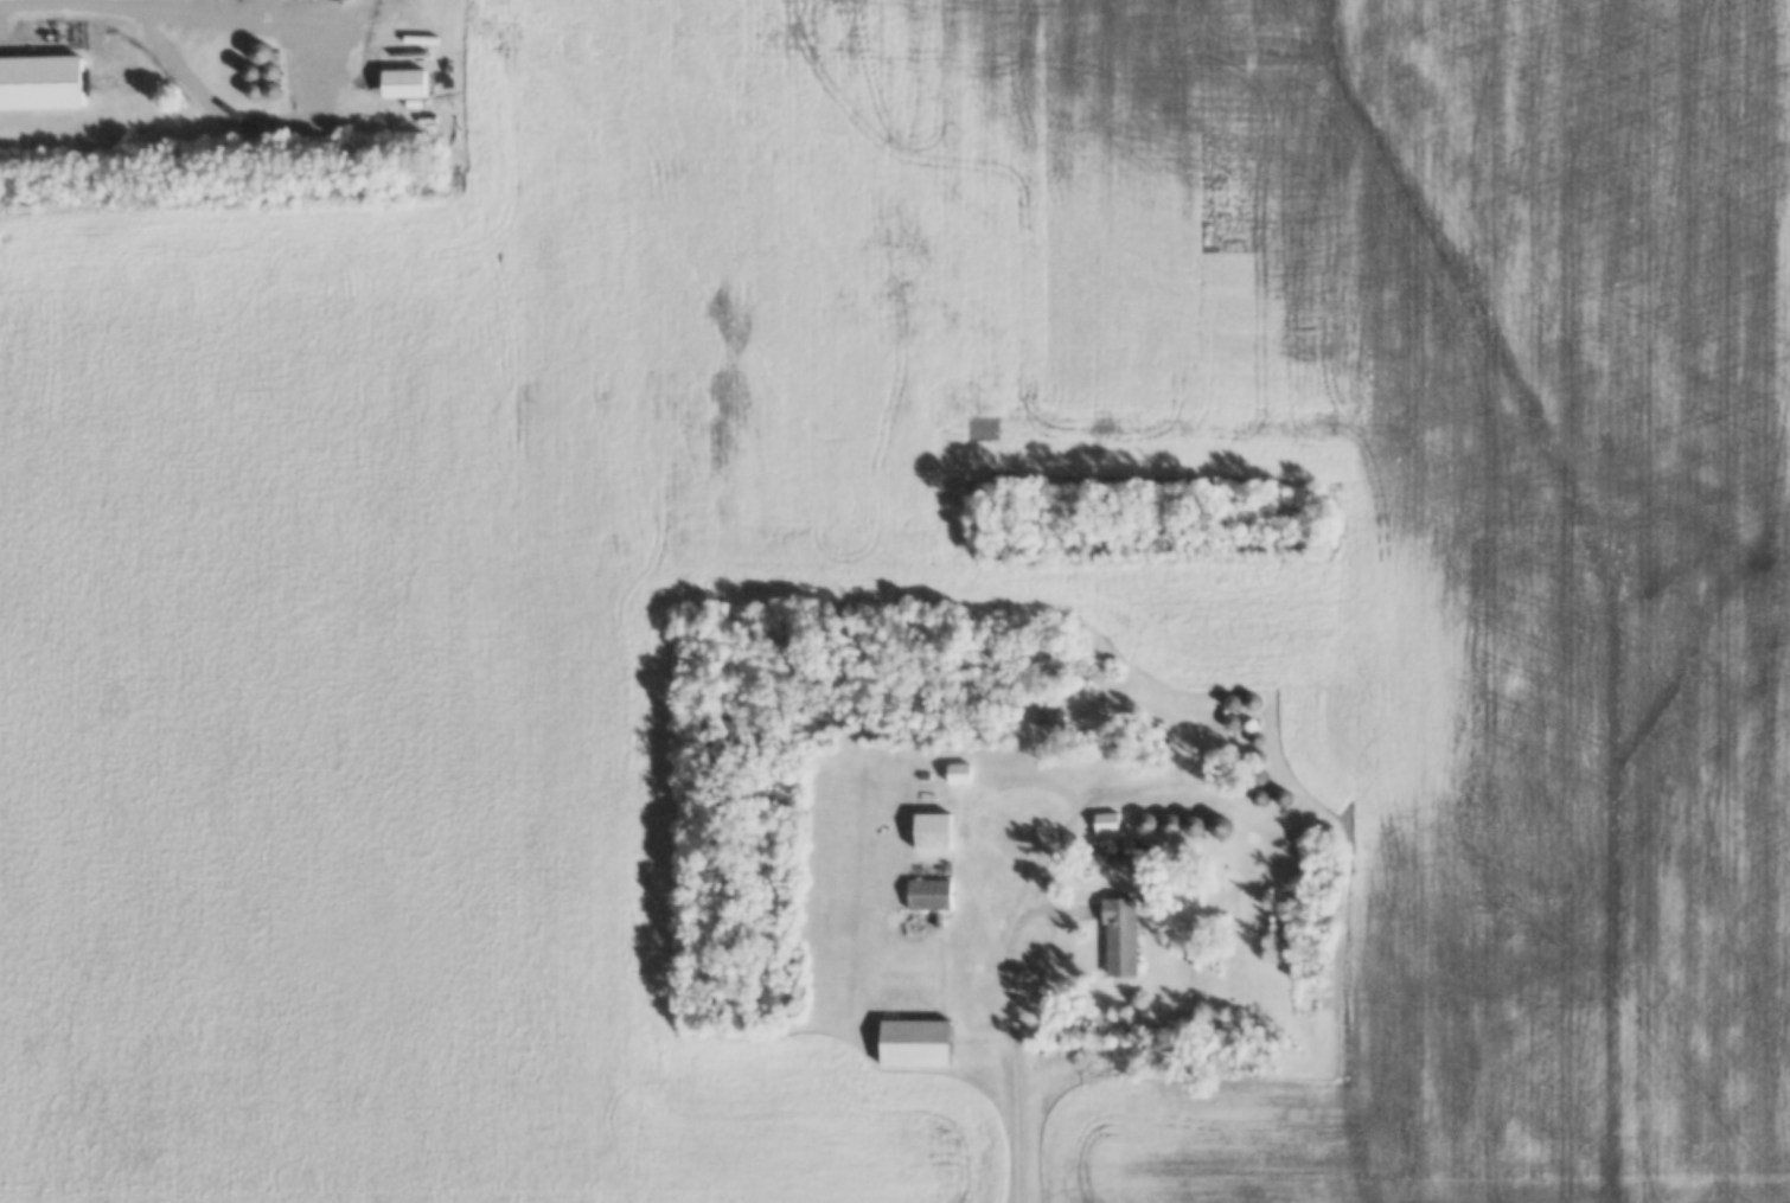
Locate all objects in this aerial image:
road: (159, 6)
building: (41, 82)
building: (402, 83)
building: (1044, 717)
building: (957, 774)
building: (1258, 795)
building: (1105, 823)
building: (1180, 824)
building: (1216, 826)
building: (931, 832)
building: (926, 895)
road: (1043, 904)
building: (1118, 938)
building: (914, 1043)
road: (1027, 1124)

